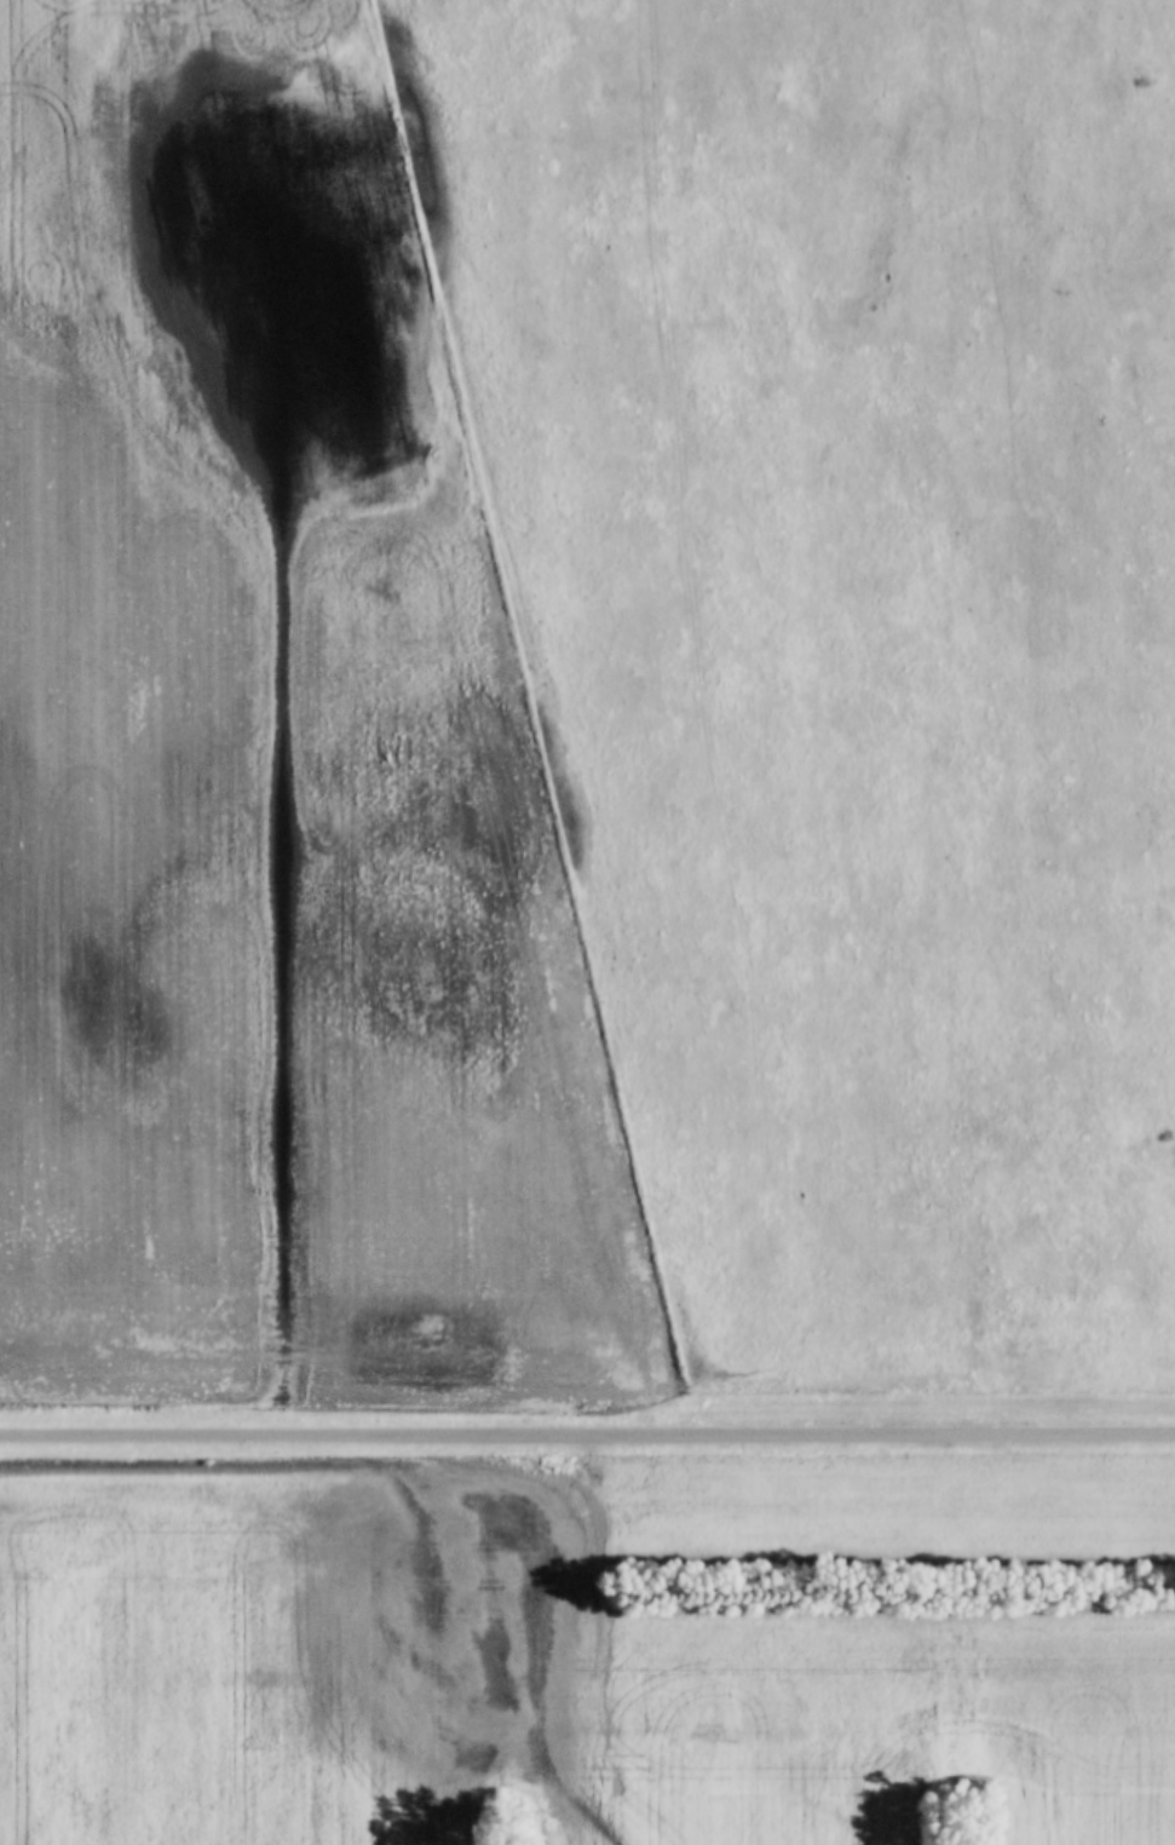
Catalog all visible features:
road: (587, 1432)

